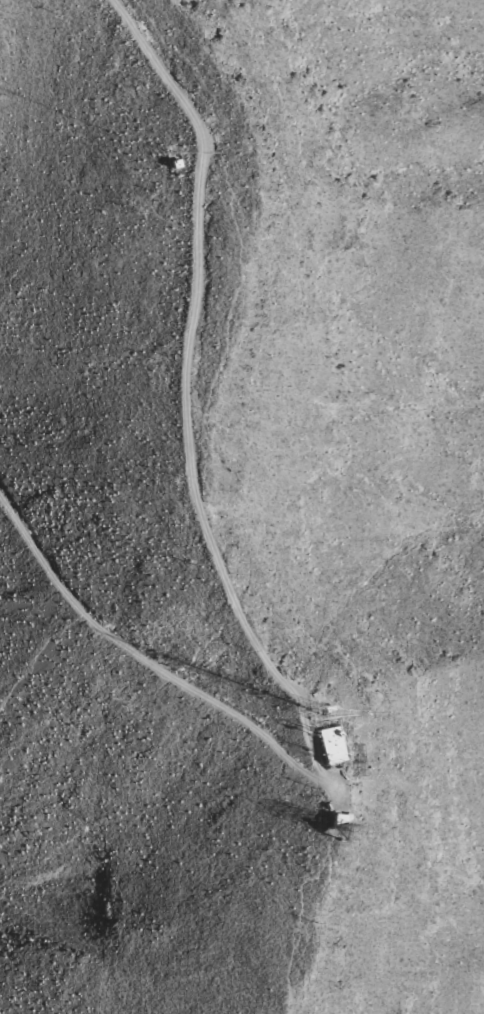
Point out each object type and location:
road: (168, 384)
road: (136, 657)
building: (303, 745)

